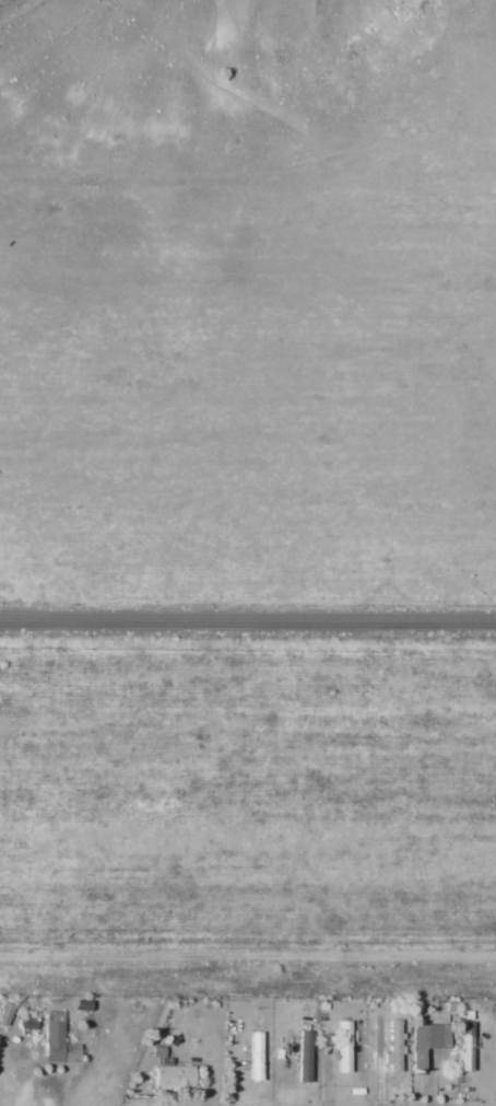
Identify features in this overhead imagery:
road: (248, 619)
building: (4, 1013)
building: (27, 1022)
building: (430, 1036)
building: (57, 1044)
building: (343, 1046)
building: (467, 1046)
building: (393, 1047)
building: (255, 1056)
building: (304, 1056)
building: (173, 1075)

